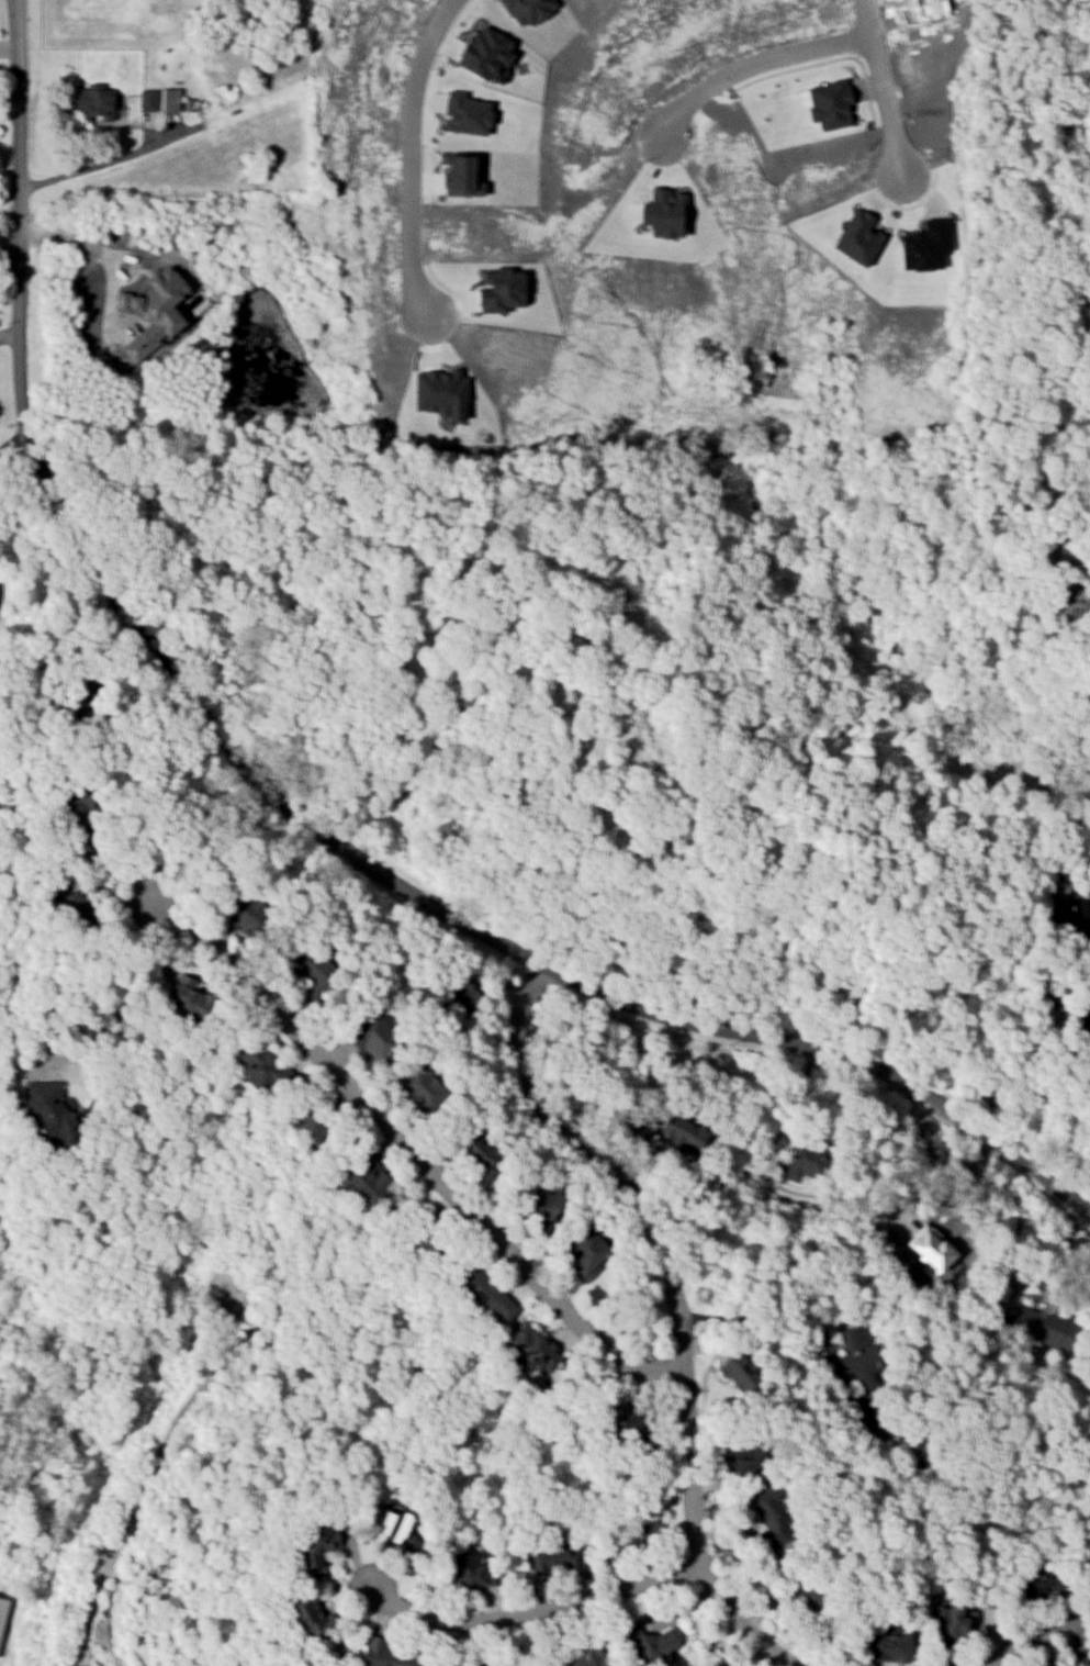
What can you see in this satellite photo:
building: (527, 9)
building: (484, 53)
road: (752, 63)
road: (879, 87)
building: (145, 99)
building: (168, 99)
building: (92, 102)
building: (187, 103)
road: (10, 108)
building: (463, 113)
road: (408, 156)
road: (99, 161)
building: (460, 175)
building: (662, 212)
building: (856, 237)
road: (75, 245)
road: (10, 247)
building: (498, 290)
building: (153, 310)
road: (10, 332)
building: (439, 392)
road: (11, 438)
building: (1071, 601)
building: (71, 698)
building: (1089, 787)
road: (132, 797)
road: (294, 815)
building: (1063, 905)
building: (76, 910)
building: (243, 915)
building: (310, 971)
road: (128, 995)
building: (459, 995)
building: (188, 1000)
building: (1078, 1005)
building: (372, 1037)
building: (259, 1065)
building: (418, 1085)
road: (790, 1103)
building: (50, 1110)
building: (310, 1128)
building: (636, 1131)
building: (678, 1131)
road: (413, 1154)
road: (904, 1155)
building: (802, 1165)
building: (363, 1181)
building: (543, 1204)
building: (928, 1250)
road: (1037, 1263)
building: (485, 1293)
road: (673, 1309)
road: (758, 1315)
building: (1041, 1327)
building: (855, 1357)
building: (737, 1374)
building: (629, 1427)
building: (868, 1428)
building: (745, 1458)
road: (148, 1464)
building: (768, 1517)
building: (391, 1524)
building: (315, 1547)
building: (552, 1556)
building: (464, 1569)
building: (1036, 1583)
building: (806, 1595)
building: (2, 1606)
road: (529, 1611)
building: (307, 1615)
building: (949, 1622)
road: (1033, 1634)
building: (649, 1643)
building: (885, 1646)
building: (383, 1654)
building: (1081, 1656)
building: (493, 1663)
building: (1037, 1665)

